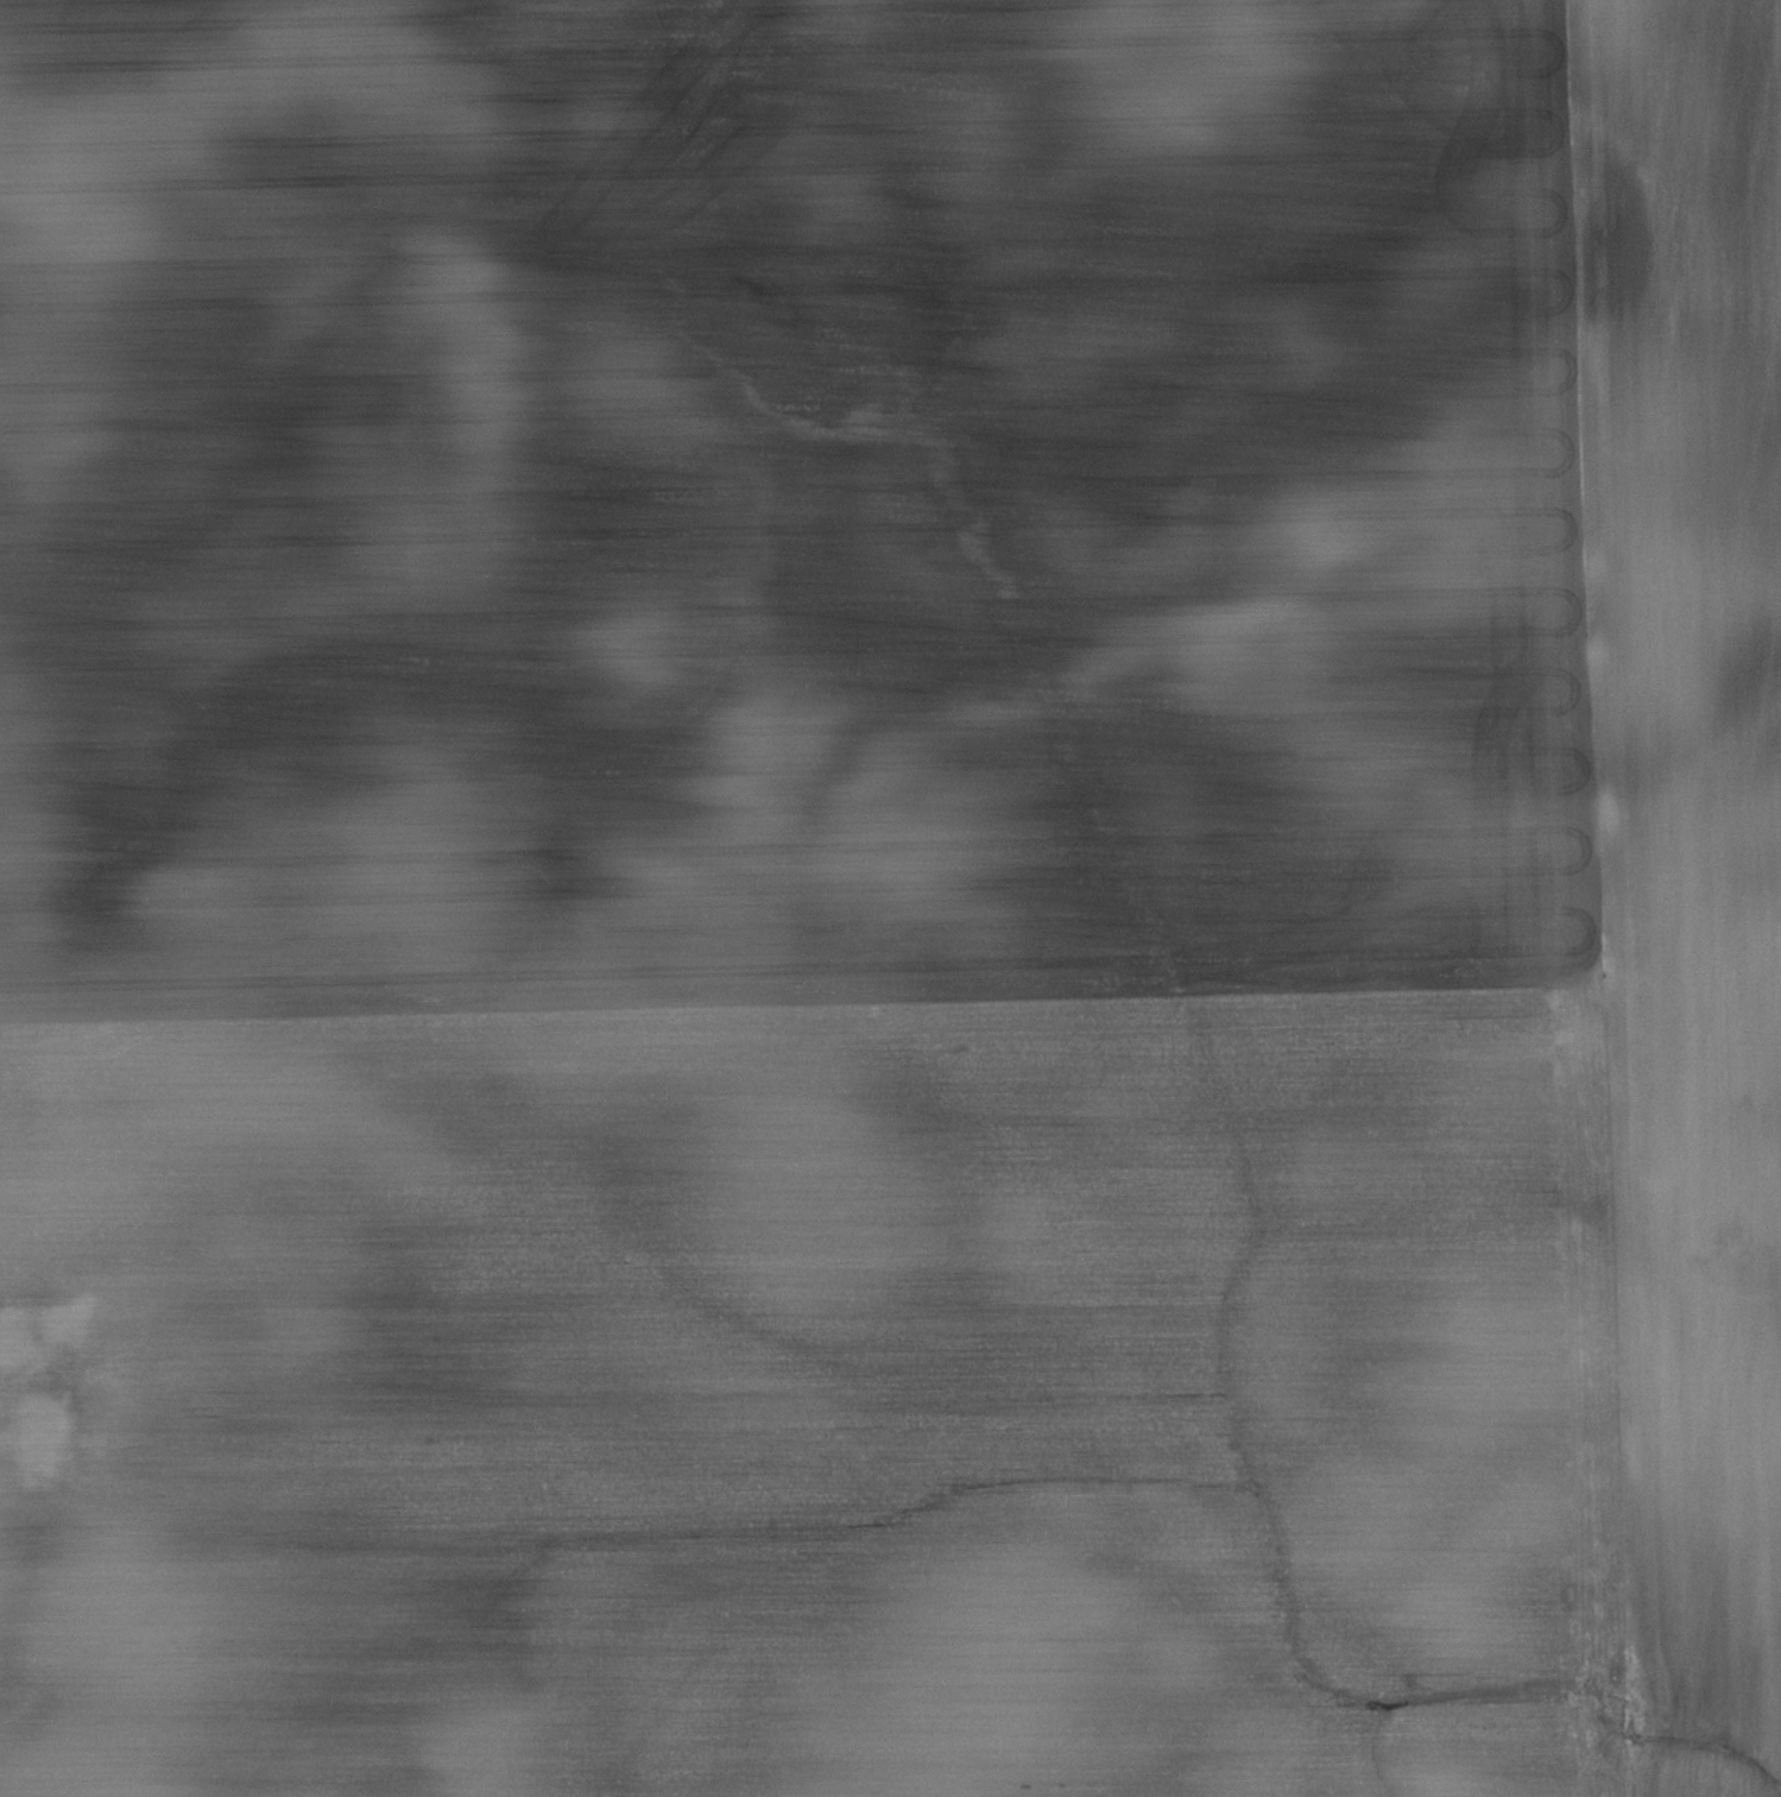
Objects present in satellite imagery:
crop: (890, 898)

